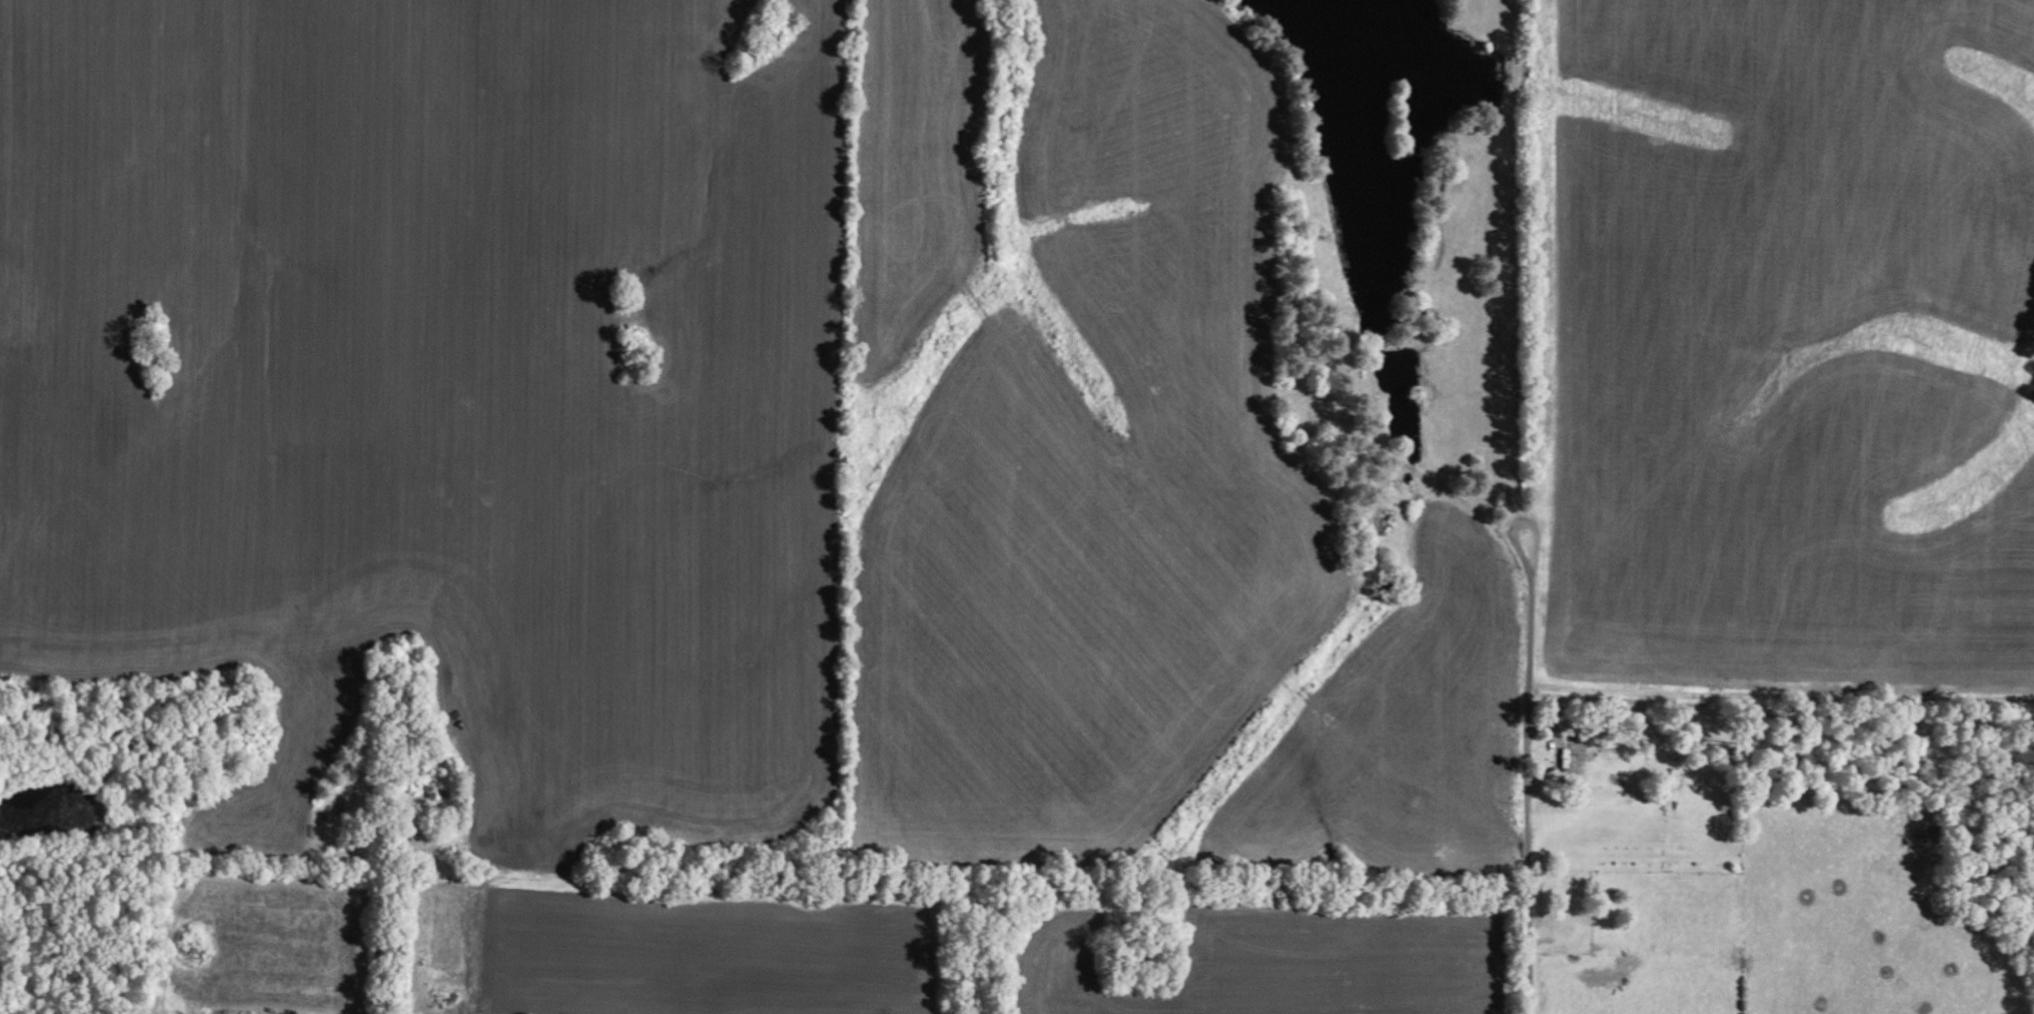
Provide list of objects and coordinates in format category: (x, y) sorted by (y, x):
road: (1522, 524)
road: (1530, 797)

